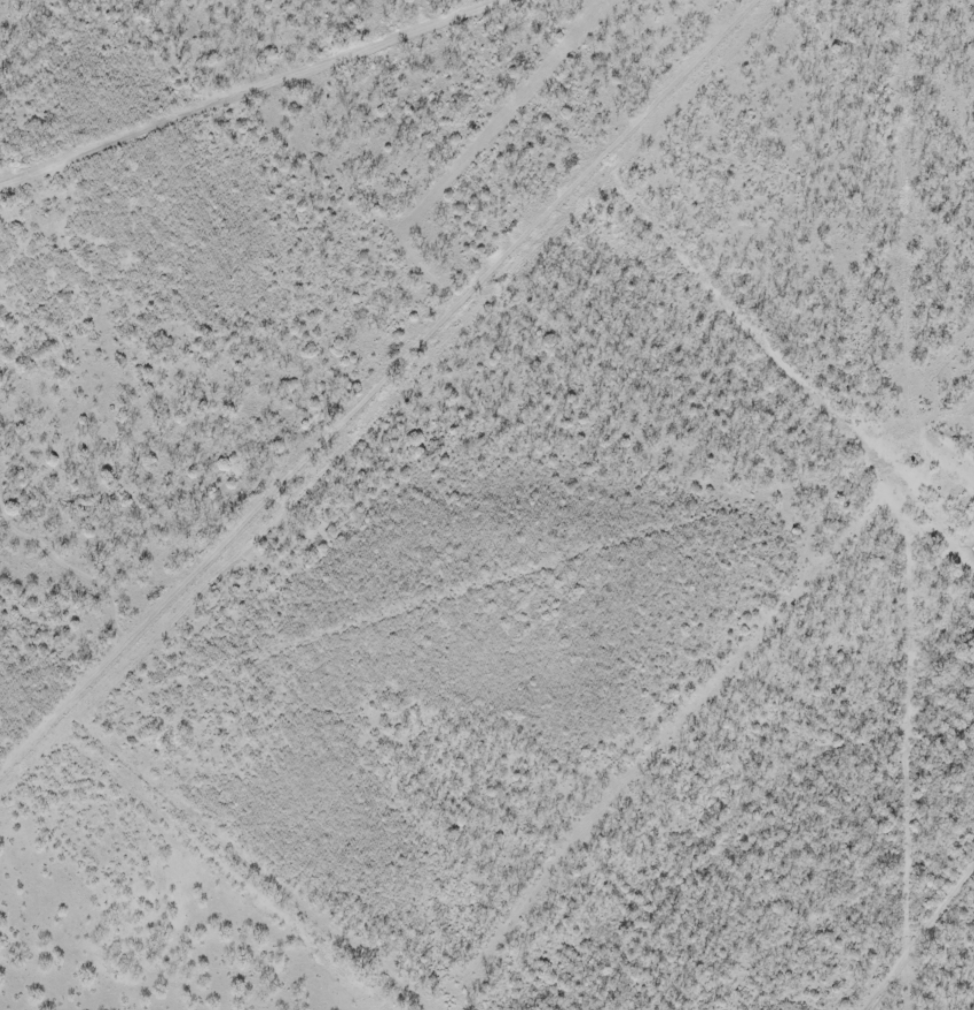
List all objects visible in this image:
road: (210, 869)

